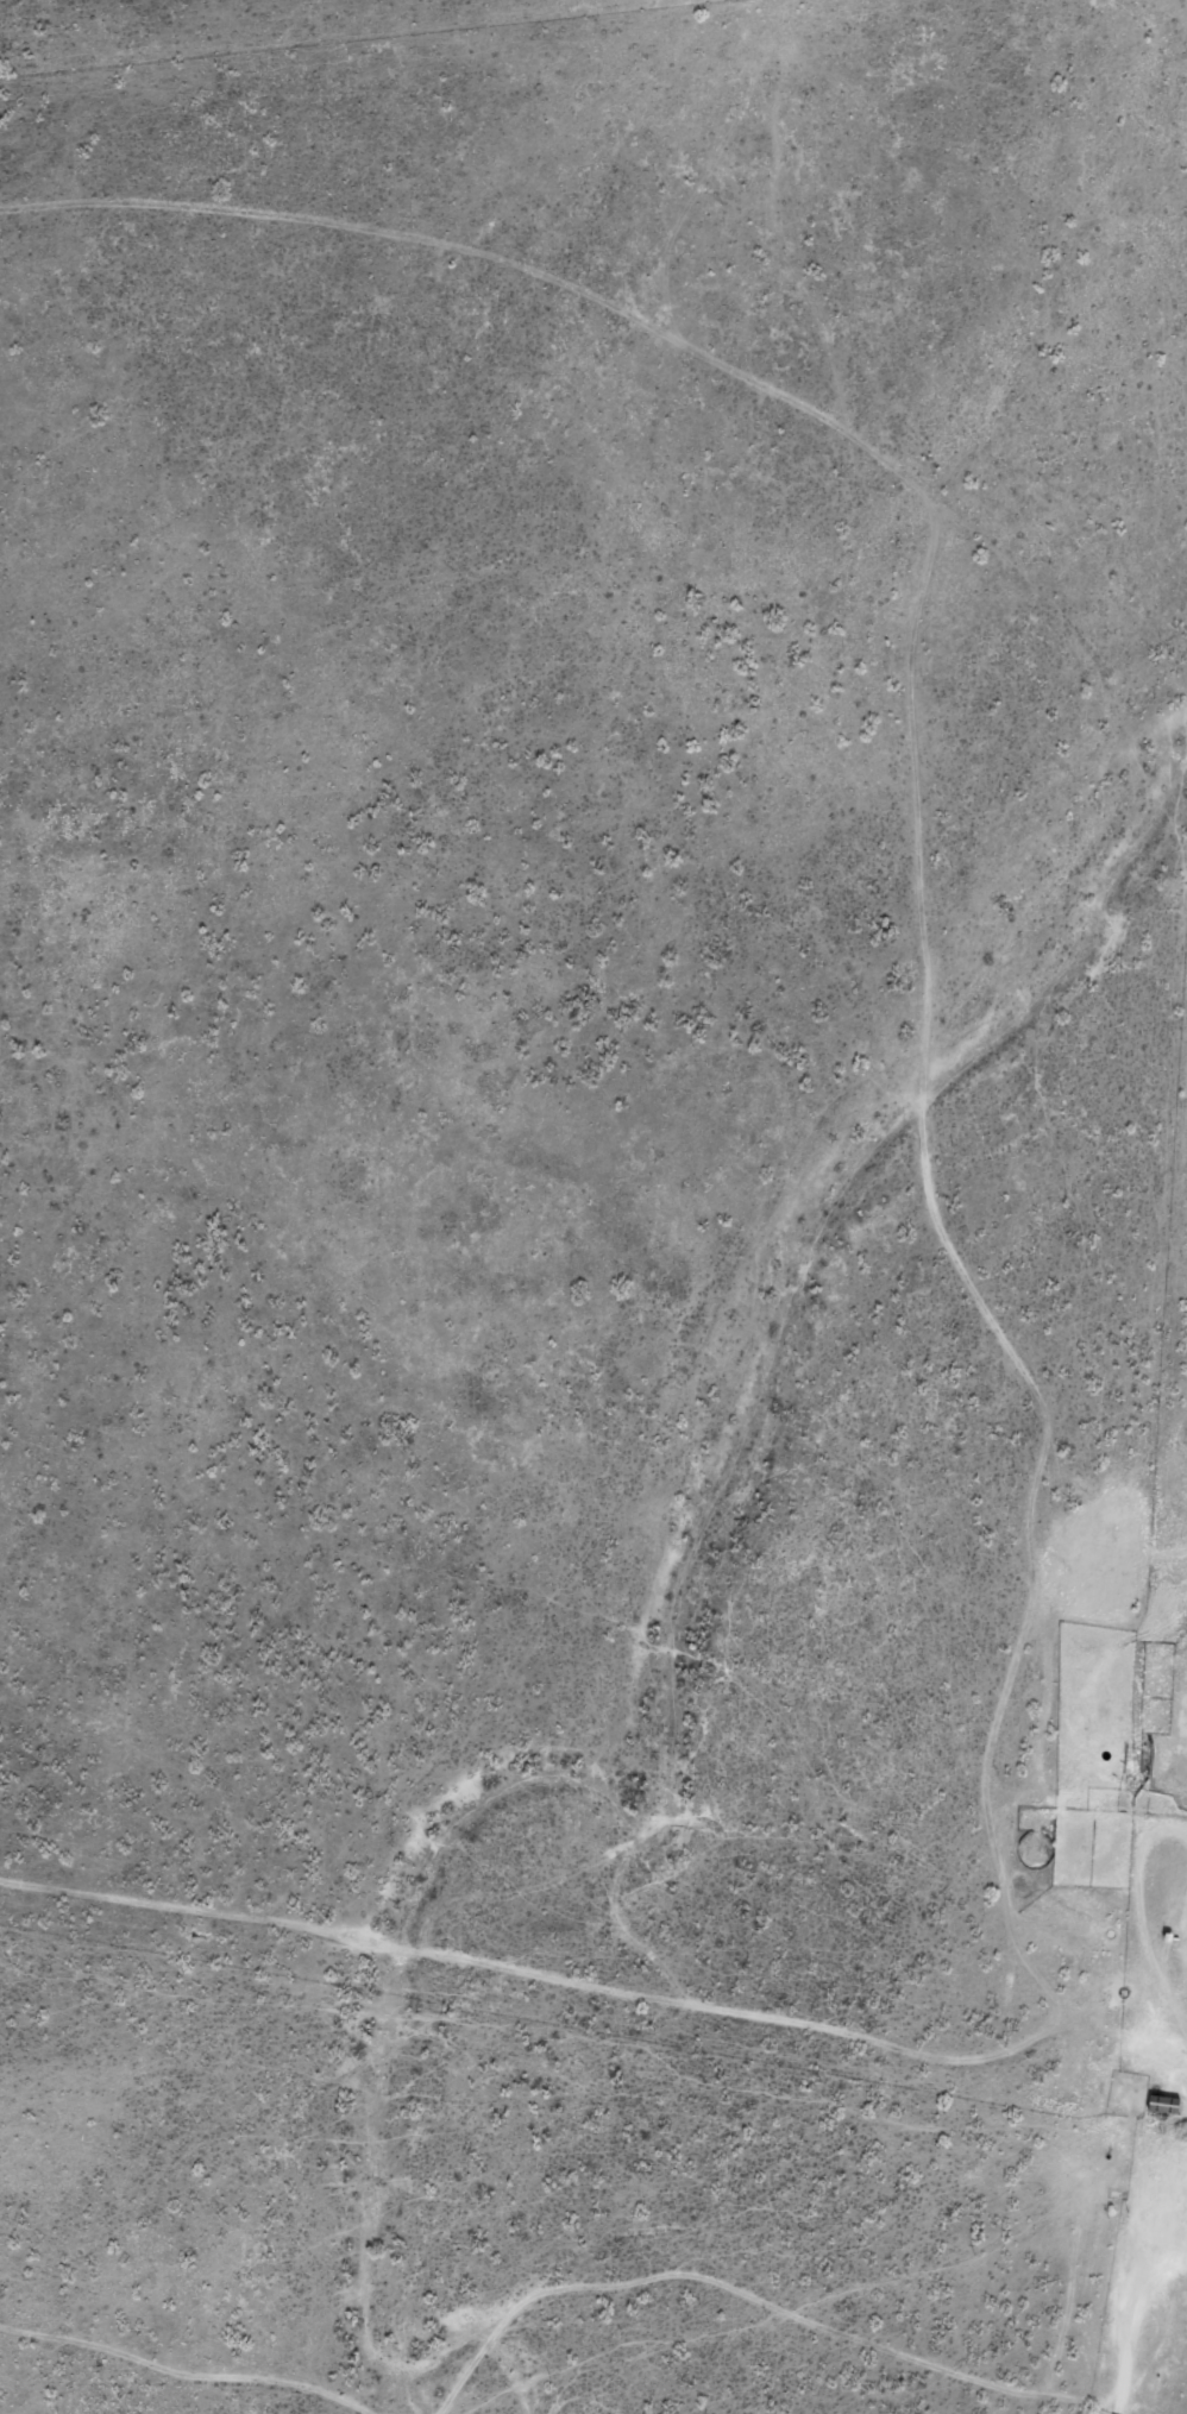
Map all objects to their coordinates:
road: (1145, 2339)

